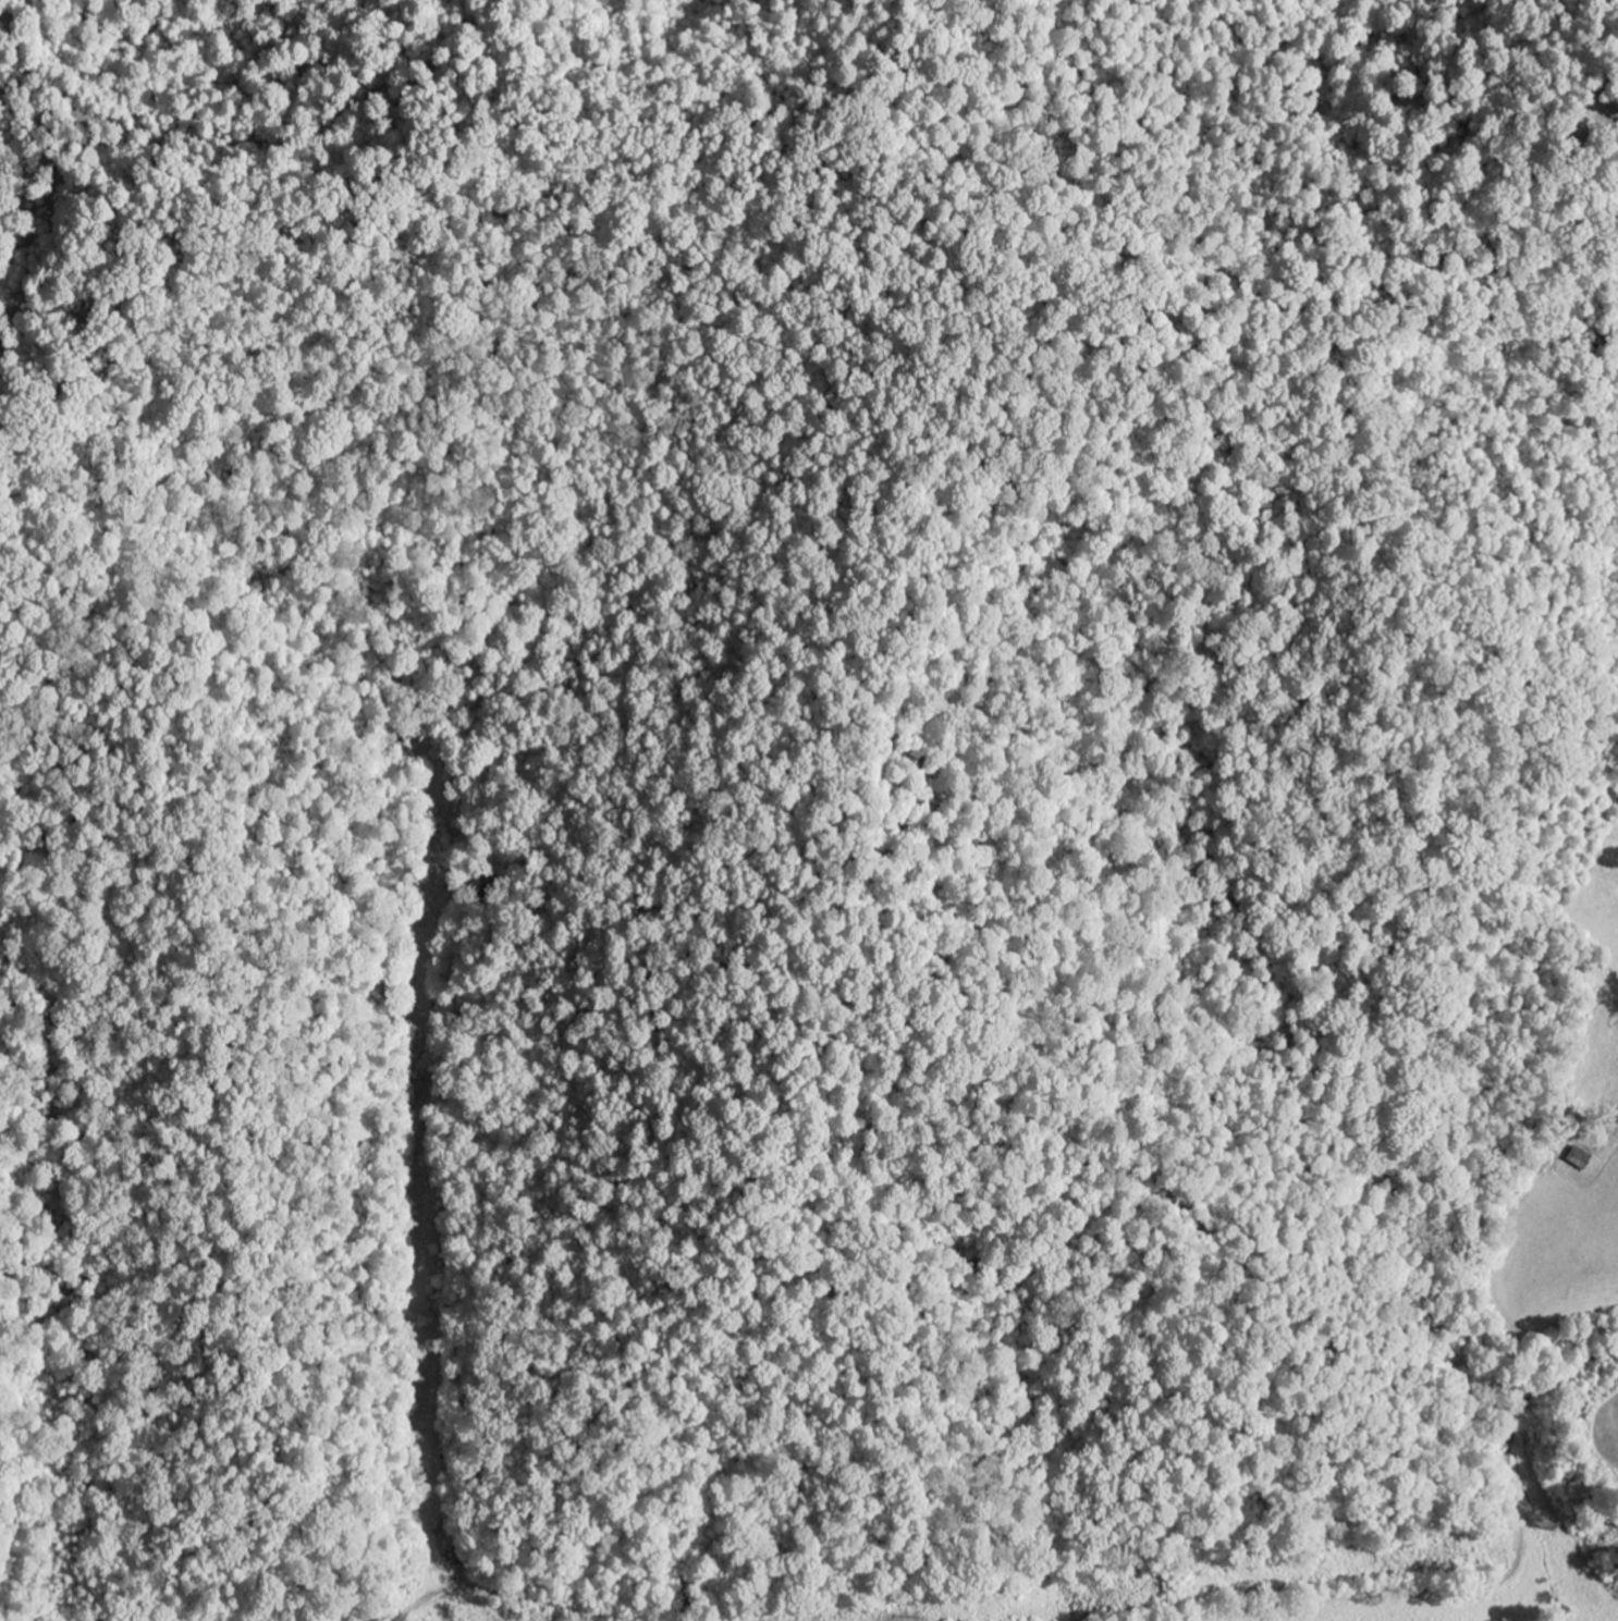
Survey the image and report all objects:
road: (1515, 1429)

